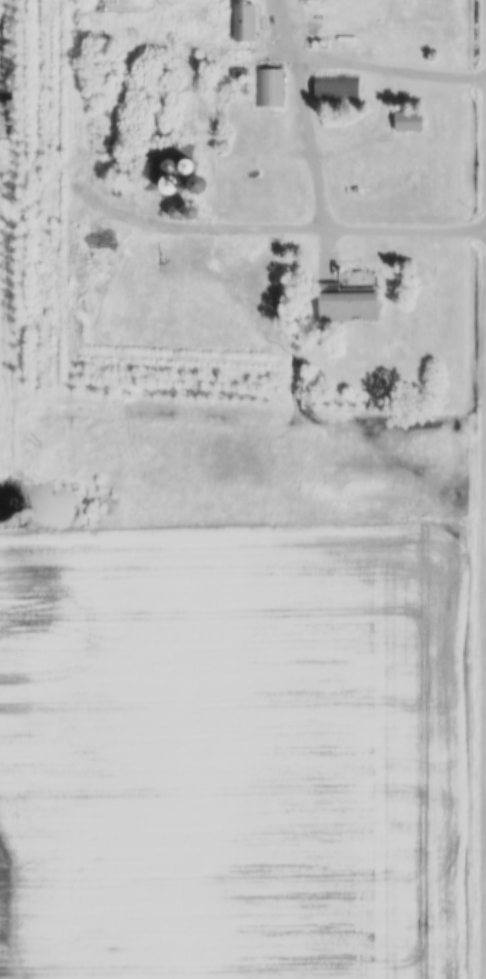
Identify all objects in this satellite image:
building: (308, 1)
building: (243, 24)
storage tank: (345, 41)
storage tank: (314, 45)
storage tank: (322, 45)
storage tank: (328, 45)
building: (238, 75)
road: (389, 75)
building: (267, 89)
building: (337, 91)
building: (162, 121)
road: (308, 136)
road: (327, 159)
building: (189, 169)
silo: (189, 169)
building: (116, 176)
silo: (116, 176)
building: (126, 176)
silo: (126, 176)
building: (197, 186)
silo: (197, 186)
building: (174, 187)
silo: (174, 187)
building: (169, 214)
silo: (169, 214)
building: (184, 214)
silo: (184, 214)
road: (275, 231)
building: (38, 276)
building: (344, 305)

